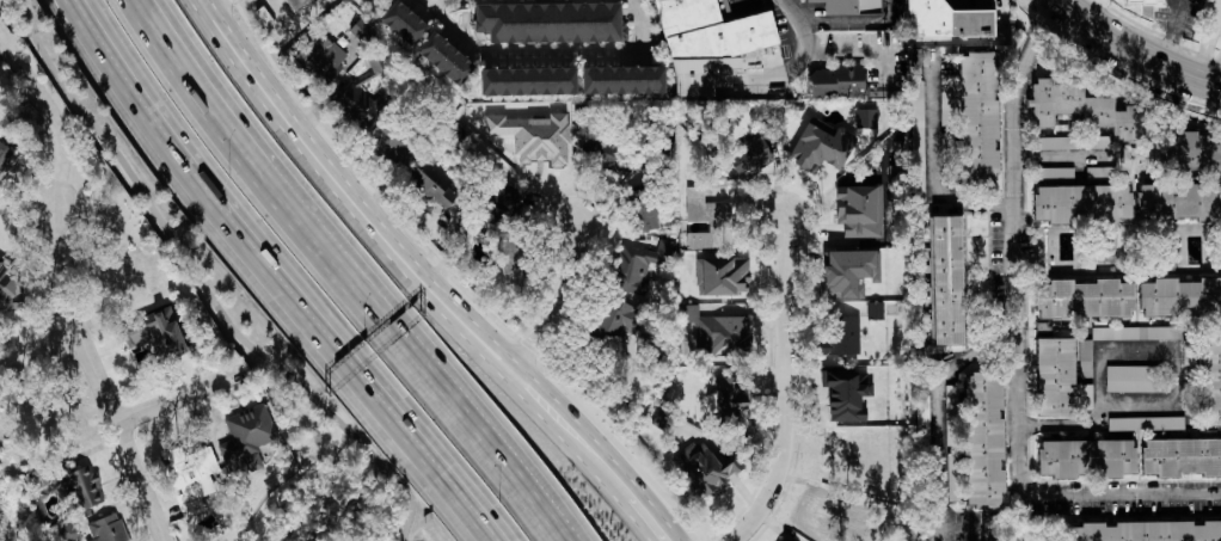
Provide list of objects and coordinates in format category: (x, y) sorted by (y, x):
road: (902, 1)
building: (1142, 1)
building: (294, 2)
building: (1220, 2)
building: (848, 6)
road: (1215, 12)
building: (263, 16)
building: (547, 20)
building: (946, 20)
building: (401, 21)
road: (1174, 27)
building: (361, 30)
building: (708, 31)
road: (1141, 44)
road: (1205, 44)
road: (829, 45)
road: (546, 54)
building: (320, 59)
building: (448, 61)
road: (1220, 73)
building: (621, 79)
building: (527, 81)
building: (835, 82)
building: (946, 92)
building: (1082, 107)
building: (354, 112)
building: (865, 118)
building: (977, 118)
building: (534, 135)
building: (1073, 142)
building: (821, 148)
building: (751, 150)
building: (1186, 152)
building: (6, 160)
road: (1072, 160)
building: (1098, 171)
building: (1055, 172)
road: (938, 176)
building: (430, 191)
building: (509, 196)
building: (1178, 201)
building: (1081, 202)
building: (858, 210)
building: (499, 217)
building: (707, 220)
road: (231, 221)
building: (510, 254)
building: (643, 264)
road: (348, 271)
building: (847, 272)
building: (722, 275)
building: (946, 279)
road: (422, 282)
road: (62, 284)
road: (202, 284)
building: (8, 291)
building: (1180, 296)
road: (559, 297)
building: (1084, 297)
building: (875, 309)
building: (620, 319)
building: (1136, 332)
road: (65, 333)
building: (155, 333)
building: (722, 334)
building: (842, 334)
road: (1016, 340)
road: (1178, 350)
building: (1210, 375)
building: (1059, 377)
building: (1136, 377)
road: (785, 383)
building: (843, 395)
road: (174, 398)
building: (730, 400)
building: (950, 402)
building: (24, 411)
building: (921, 418)
building: (1145, 423)
road: (1062, 424)
road: (939, 430)
building: (982, 437)
building: (245, 439)
building: (842, 450)
building: (1182, 455)
building: (1086, 457)
building: (706, 466)
building: (190, 479)
road: (448, 486)
road: (432, 487)
building: (78, 488)
building: (106, 528)
building: (1145, 530)
building: (784, 539)

